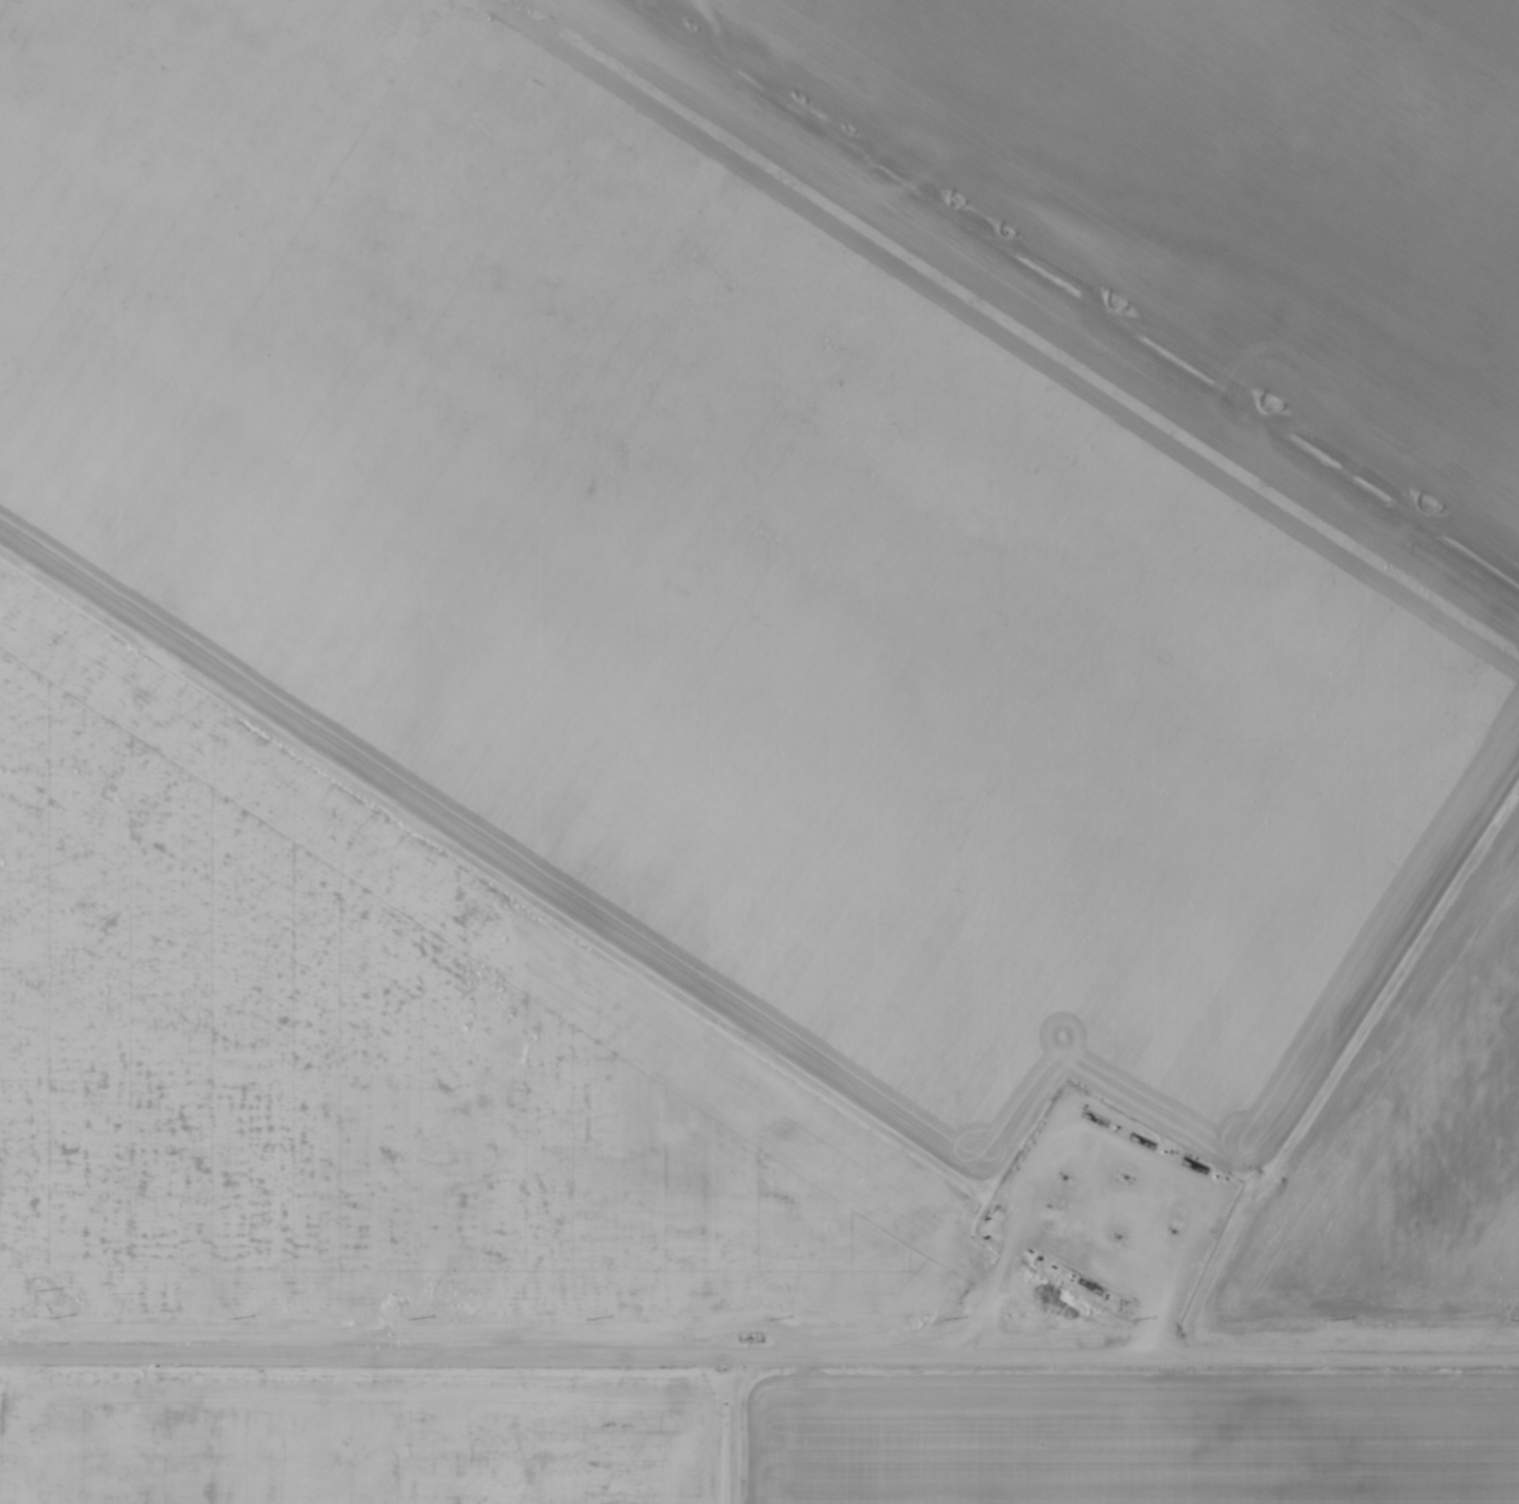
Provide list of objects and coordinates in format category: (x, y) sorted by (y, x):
crop: (1231, 185)

